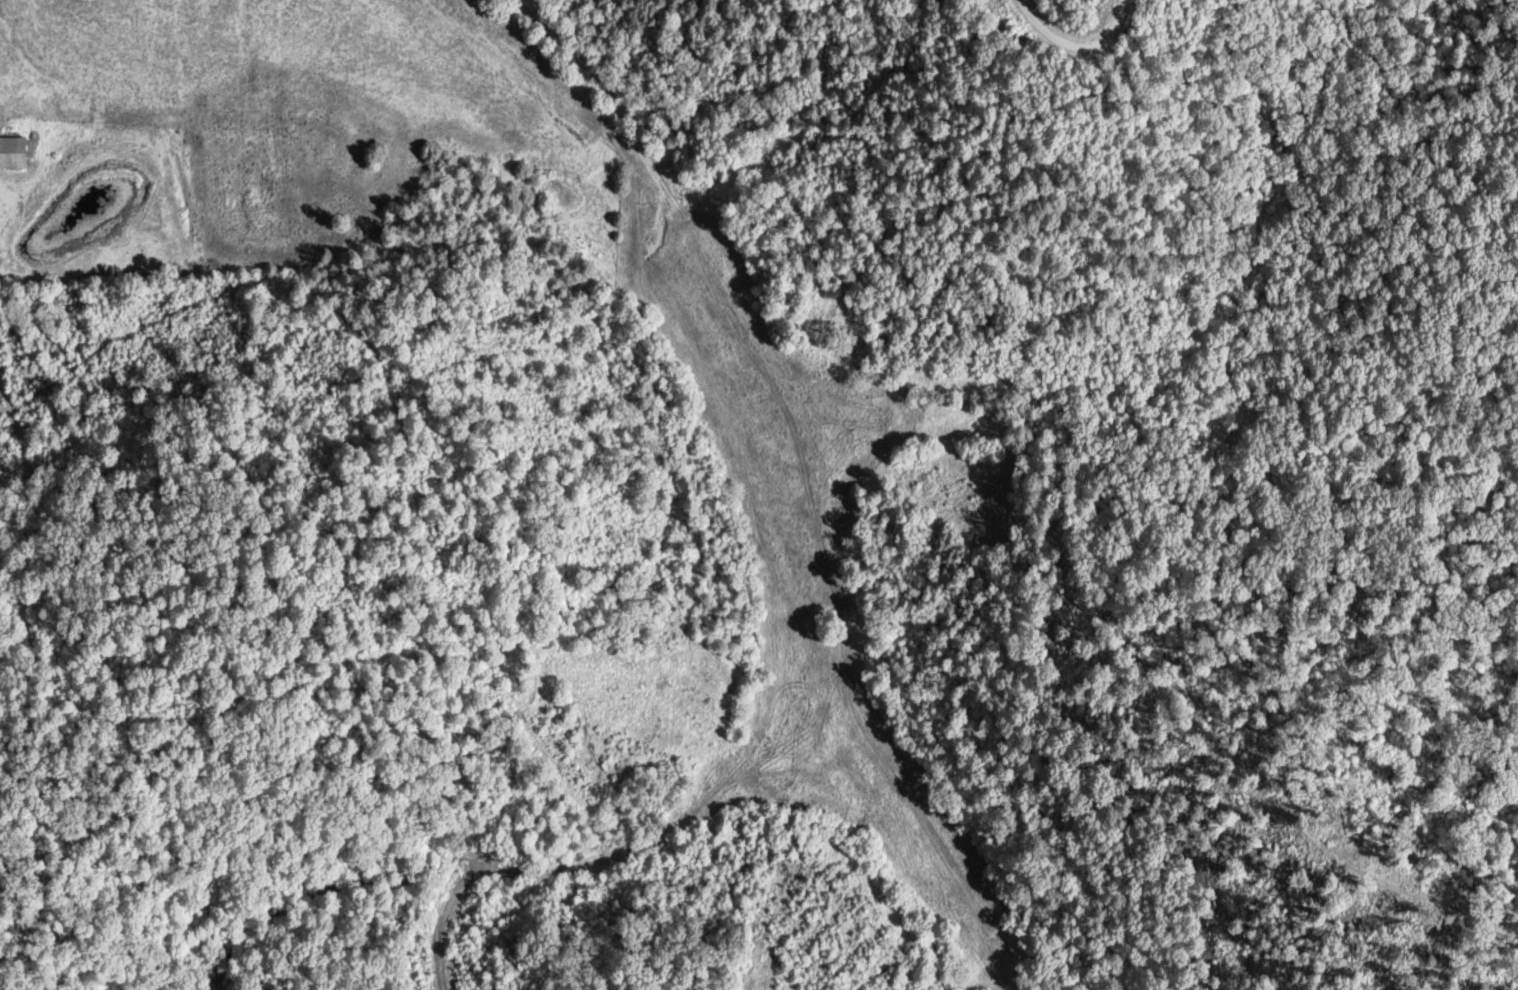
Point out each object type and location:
building: (18, 152)

